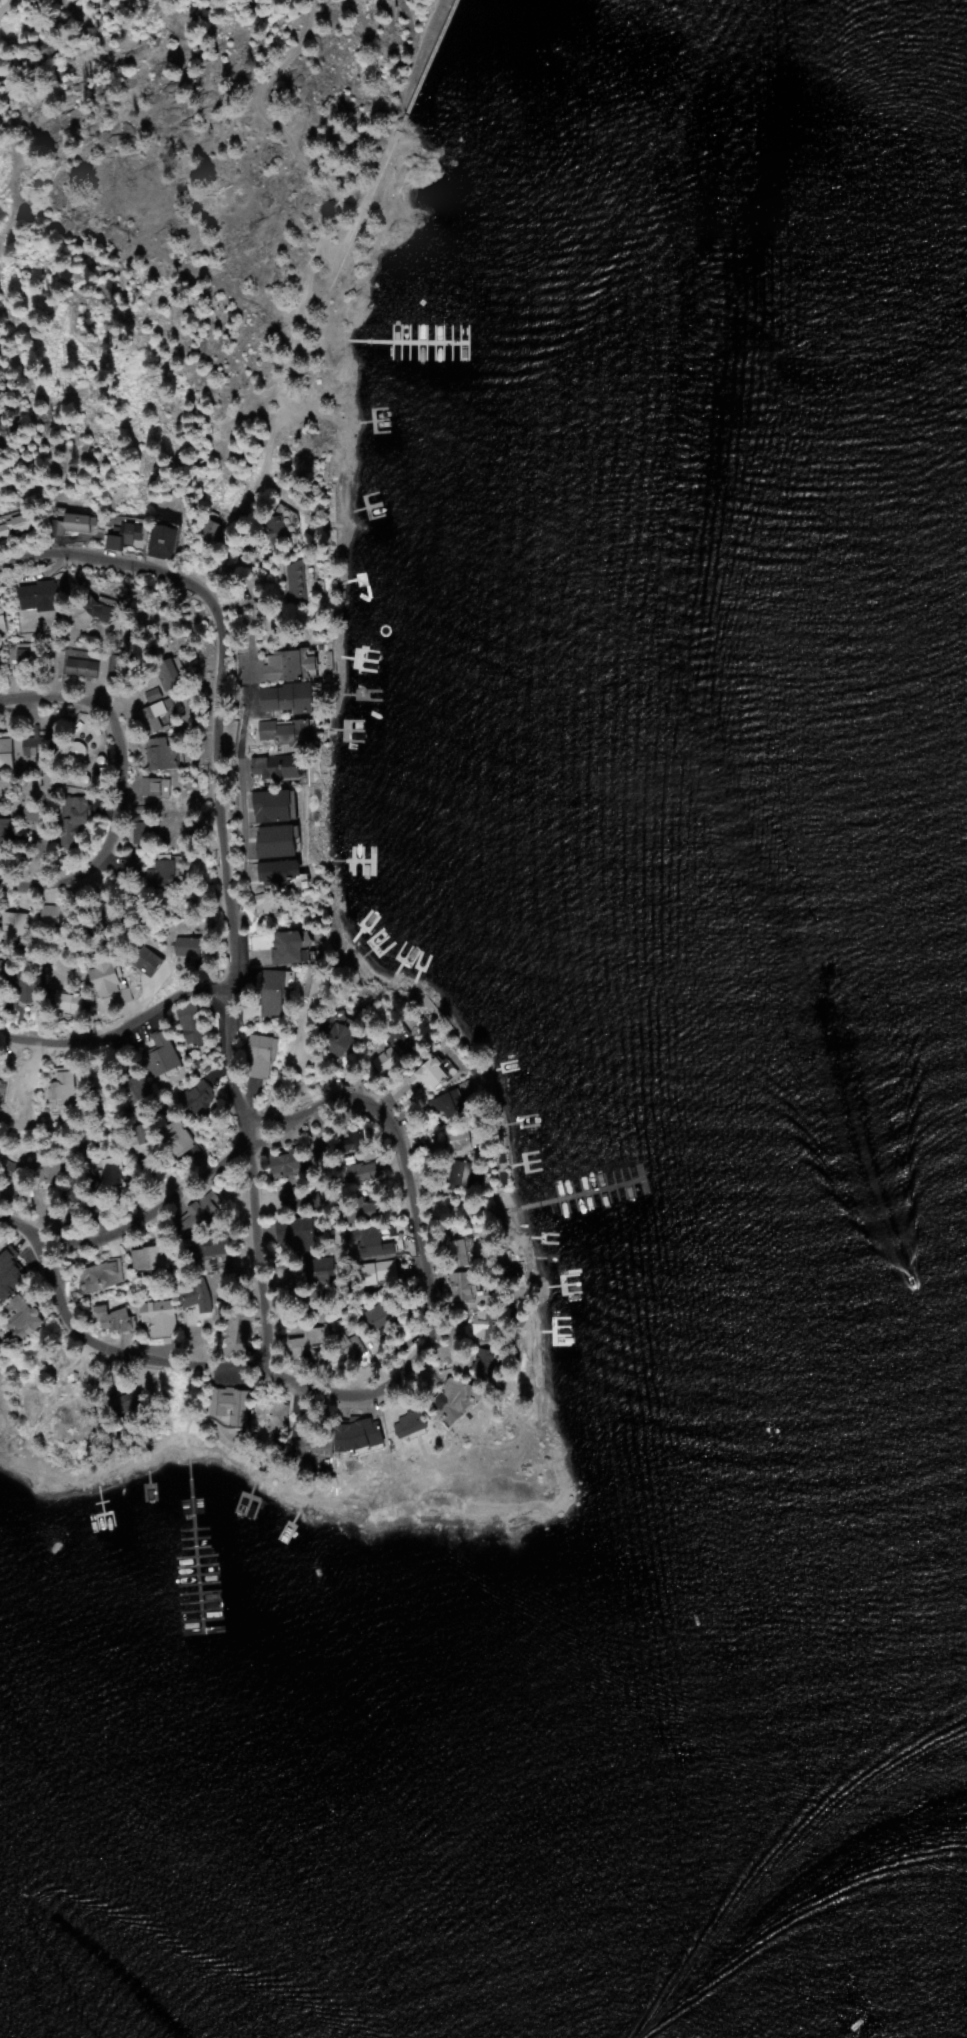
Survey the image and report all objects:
dam: (433, 39)
building: (79, 523)
building: (279, 527)
building: (126, 538)
building: (165, 542)
building: (302, 583)
building: (40, 596)
building: (100, 606)
building: (3, 617)
building: (293, 666)
building: (83, 668)
building: (168, 668)
road: (216, 675)
building: (155, 694)
building: (288, 698)
road: (110, 699)
building: (153, 717)
building: (289, 732)
building: (7, 755)
building: (163, 757)
road: (245, 767)
building: (278, 767)
building: (273, 807)
building: (5, 832)
building: (278, 842)
road: (105, 865)
building: (153, 872)
building: (280, 873)
building: (53, 914)
building: (15, 926)
building: (192, 948)
building: (289, 948)
building: (149, 962)
building: (111, 984)
building: (319, 986)
building: (275, 994)
building: (69, 1003)
road: (126, 1024)
building: (165, 1057)
building: (263, 1057)
building: (432, 1076)
road: (393, 1088)
building: (138, 1089)
building: (201, 1097)
building: (366, 1135)
building: (179, 1139)
building: (463, 1141)
building: (360, 1171)
building: (464, 1174)
road: (178, 1186)
building: (207, 1207)
building: (366, 1213)
pier: (676, 1225)
pier: (606, 1229)
building: (296, 1231)
road: (251, 1242)
building: (371, 1242)
building: (209, 1250)
road: (69, 1252)
building: (463, 1254)
building: (379, 1273)
building: (106, 1276)
building: (24, 1317)
building: (161, 1317)
building: (379, 1318)
building: (114, 1320)
building: (484, 1324)
road: (441, 1337)
building: (315, 1341)
building: (233, 1407)
building: (266, 1425)
building: (411, 1426)
building: (359, 1437)
building: (311, 1451)
pier: (116, 1625)
pier: (107, 1706)

